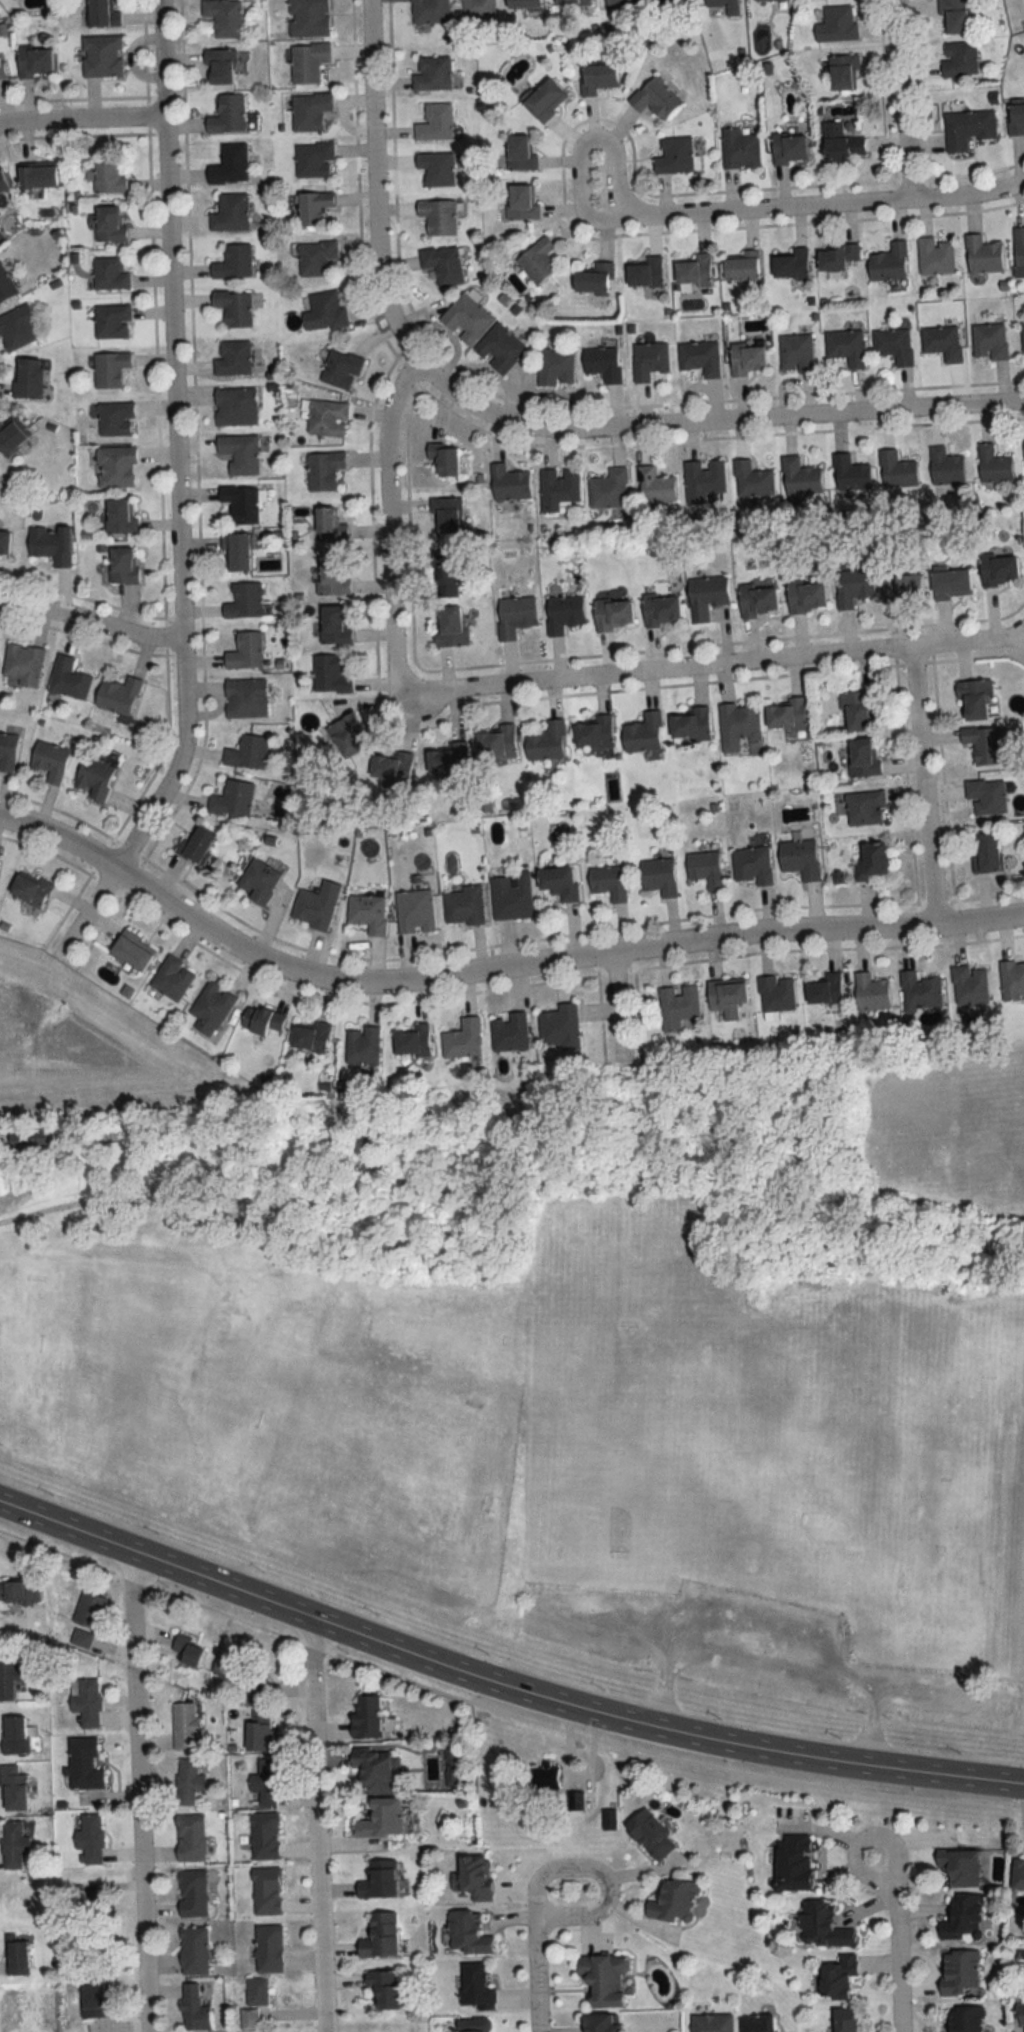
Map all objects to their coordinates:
building: (671, 0)
building: (766, 0)
building: (571, 2)
building: (621, 4)
building: (523, 5)
building: (725, 6)
building: (476, 9)
building: (429, 11)
building: (101, 14)
building: (223, 17)
building: (954, 17)
building: (307, 18)
building: (837, 24)
building: (101, 56)
building: (959, 59)
building: (32, 62)
building: (307, 62)
building: (219, 67)
building: (1, 73)
building: (843, 73)
building: (431, 74)
building: (596, 79)
building: (654, 99)
building: (544, 100)
road: (899, 101)
building: (309, 111)
building: (229, 115)
road: (81, 119)
building: (1015, 120)
building: (434, 122)
building: (967, 129)
road: (583, 142)
building: (841, 143)
building: (788, 149)
building: (739, 150)
building: (520, 153)
building: (674, 156)
building: (313, 159)
building: (229, 164)
building: (436, 167)
building: (104, 174)
building: (37, 176)
building: (2, 182)
building: (521, 202)
building: (312, 206)
road: (822, 207)
building: (230, 212)
building: (438, 216)
building: (107, 223)
building: (1019, 246)
building: (982, 254)
building: (935, 255)
building: (838, 256)
building: (317, 258)
building: (233, 261)
building: (537, 261)
building: (889, 262)
building: (791, 263)
building: (442, 264)
building: (742, 265)
building: (694, 270)
building: (109, 272)
building: (645, 273)
building: (594, 277)
building: (5, 284)
building: (233, 306)
building: (323, 310)
building: (465, 318)
building: (111, 321)
building: (16, 327)
building: (1022, 335)
building: (989, 340)
building: (942, 341)
building: (894, 344)
building: (846, 346)
building: (499, 347)
building: (796, 353)
building: (700, 356)
building: (232, 357)
building: (747, 358)
building: (649, 359)
building: (603, 362)
building: (556, 366)
building: (109, 368)
building: (340, 368)
building: (28, 377)
building: (235, 405)
building: (326, 417)
building: (115, 418)
road: (525, 423)
building: (11, 435)
building: (239, 452)
building: (443, 458)
building: (993, 463)
building: (944, 465)
building: (115, 466)
building: (323, 469)
building: (896, 469)
building: (849, 473)
building: (800, 477)
building: (706, 478)
building: (751, 479)
building: (509, 483)
building: (655, 485)
building: (609, 488)
building: (559, 489)
road: (175, 496)
building: (241, 502)
building: (446, 515)
building: (120, 516)
building: (328, 525)
road: (385, 527)
building: (4, 542)
building: (50, 543)
building: (236, 551)
building: (123, 565)
building: (998, 568)
building: (333, 575)
building: (444, 580)
building: (950, 583)
building: (852, 586)
building: (902, 586)
building: (706, 595)
building: (805, 595)
building: (757, 599)
building: (244, 600)
building: (661, 610)
building: (563, 613)
building: (514, 614)
building: (612, 614)
road: (89, 620)
building: (334, 624)
building: (448, 625)
building: (245, 651)
building: (22, 664)
road: (718, 665)
building: (329, 674)
building: (68, 678)
building: (118, 695)
building: (246, 697)
building: (973, 698)
building: (857, 710)
building: (786, 714)
building: (690, 724)
building: (737, 725)
building: (594, 732)
building: (643, 733)
building: (345, 736)
building: (546, 741)
building: (983, 743)
building: (497, 744)
building: (7, 751)
building: (247, 752)
building: (863, 757)
building: (449, 759)
building: (49, 761)
building: (392, 767)
building: (94, 777)
road: (923, 784)
building: (986, 795)
building: (232, 798)
building: (864, 808)
building: (196, 843)
building: (985, 851)
building: (799, 858)
building: (871, 860)
building: (752, 865)
building: (704, 868)
building: (658, 876)
building: (258, 880)
building: (608, 881)
building: (558, 882)
building: (29, 889)
building: (511, 895)
building: (315, 905)
building: (463, 905)
building: (414, 911)
building: (368, 913)
building: (130, 951)
road: (492, 969)
building: (171, 977)
building: (1012, 979)
building: (970, 984)
building: (825, 989)
building: (920, 991)
building: (870, 992)
building: (776, 993)
building: (726, 997)
building: (677, 1005)
building: (210, 1008)
road: (615, 1013)
building: (261, 1020)
building: (559, 1026)
building: (509, 1032)
building: (310, 1036)
building: (462, 1039)
building: (410, 1041)
building: (361, 1045)
building: (30, 1142)
park: (558, 1454)
building: (19, 1592)
building: (88, 1609)
building: (80, 1637)
building: (186, 1650)
road: (771, 1657)
building: (228, 1668)
building: (7, 1677)
road: (501, 1685)
building: (254, 1693)
building: (84, 1701)
building: (365, 1717)
building: (185, 1727)
building: (260, 1733)
building: (14, 1735)
building: (83, 1765)
building: (375, 1771)
building: (545, 1776)
building: (188, 1781)
building: (265, 1783)
building: (12, 1789)
road: (138, 1793)
building: (380, 1819)
road: (314, 1825)
building: (650, 1835)
building: (264, 1836)
building: (89, 1837)
building: (190, 1838)
building: (12, 1844)
building: (793, 1863)
building: (958, 1867)
road: (598, 1869)
building: (1018, 1875)
building: (473, 1877)
building: (378, 1880)
building: (266, 1891)
building: (192, 1894)
building: (674, 1901)
building: (86, 1909)
building: (962, 1918)
road: (892, 1925)
building: (822, 1926)
building: (467, 1934)
building: (380, 1937)
building: (269, 1948)
building: (194, 1951)
building: (20, 1957)
building: (959, 1972)
road: (537, 1974)
building: (837, 1977)
building: (603, 1979)
building: (475, 1988)
building: (384, 1989)
building: (94, 1998)
building: (253, 2002)
building: (194, 2010)
building: (1020, 2012)
building: (964, 2019)
building: (844, 2021)
building: (600, 2023)
building: (711, 2023)
building: (757, 2023)
building: (473, 2025)

